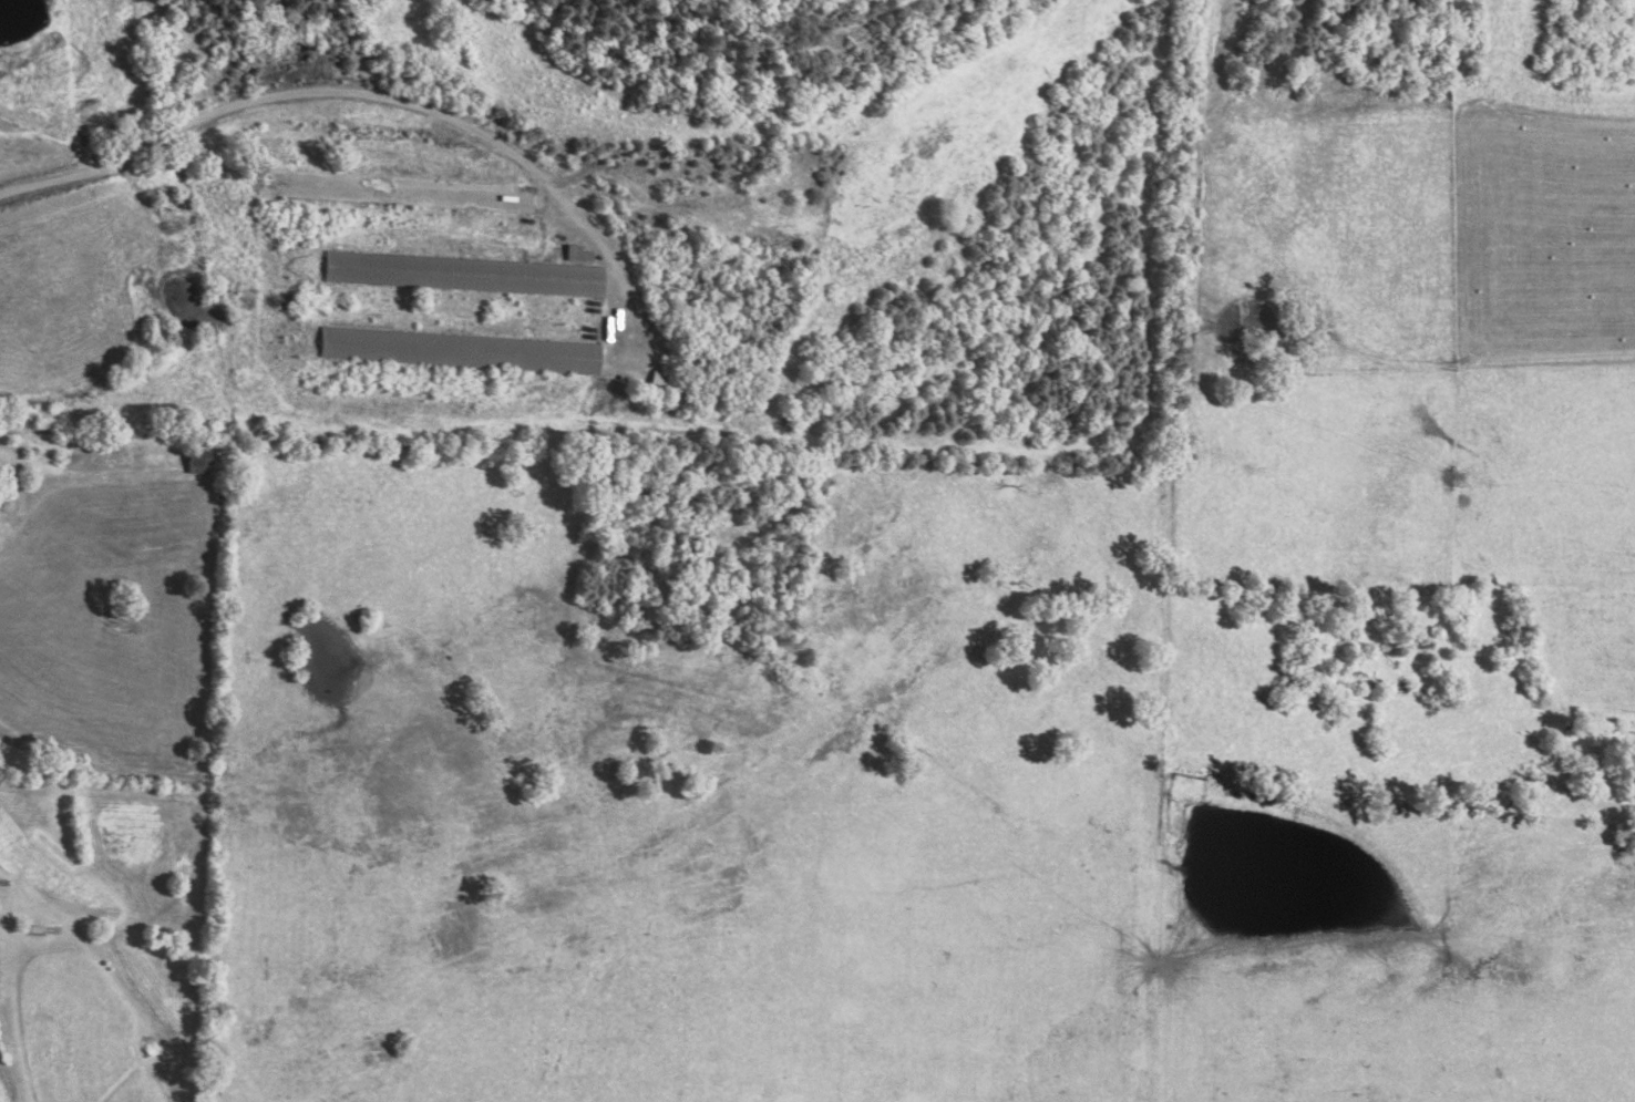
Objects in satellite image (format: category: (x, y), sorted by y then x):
road: (361, 96)
road: (1, 914)
road: (1145, 938)

